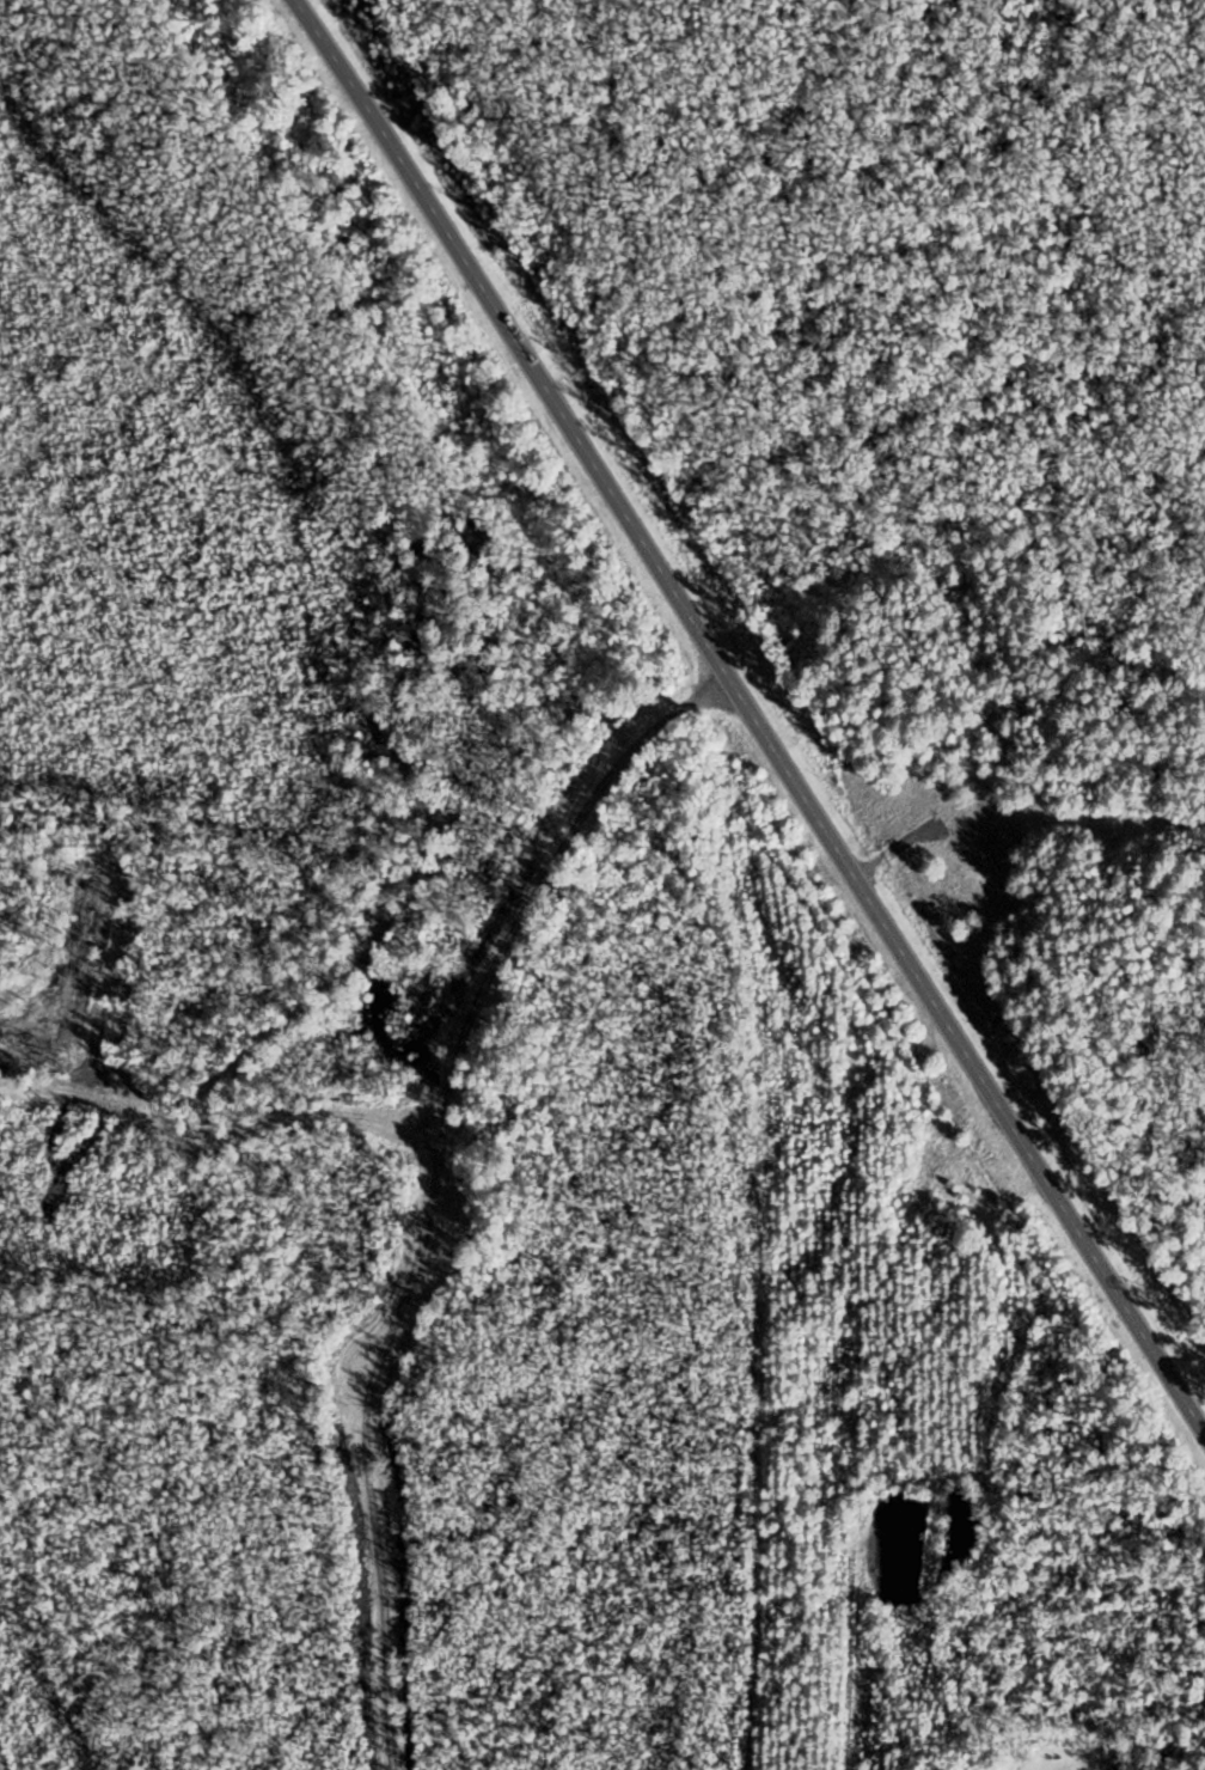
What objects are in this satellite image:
road: (756, 714)
road: (1077, 910)
road: (433, 1174)
building: (948, 1192)

